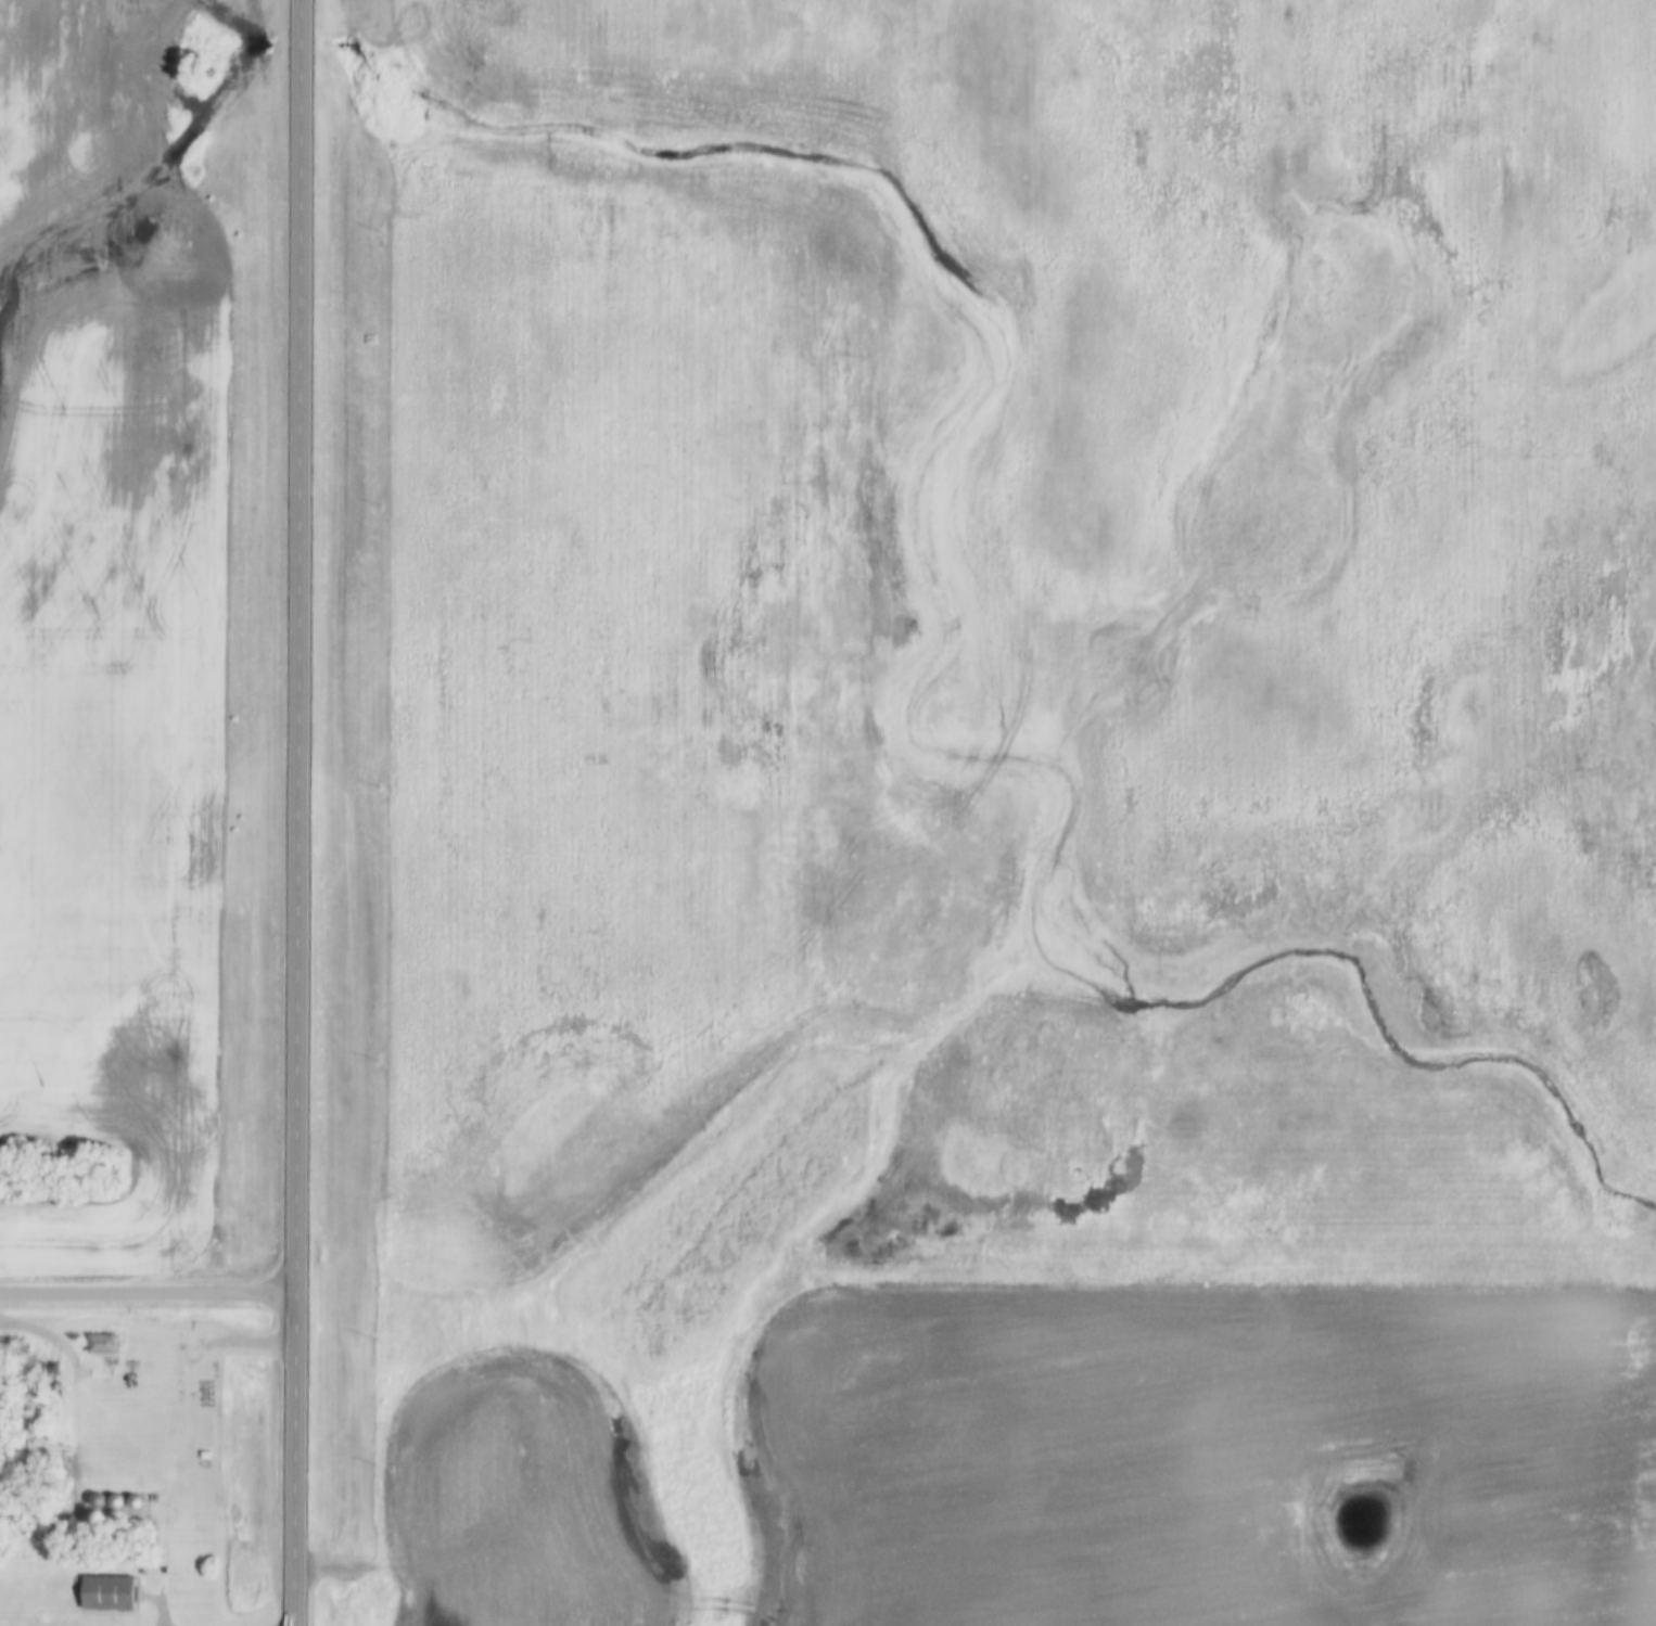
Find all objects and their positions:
road: (294, 812)
road: (143, 1296)
building: (104, 1345)
building: (109, 1592)

